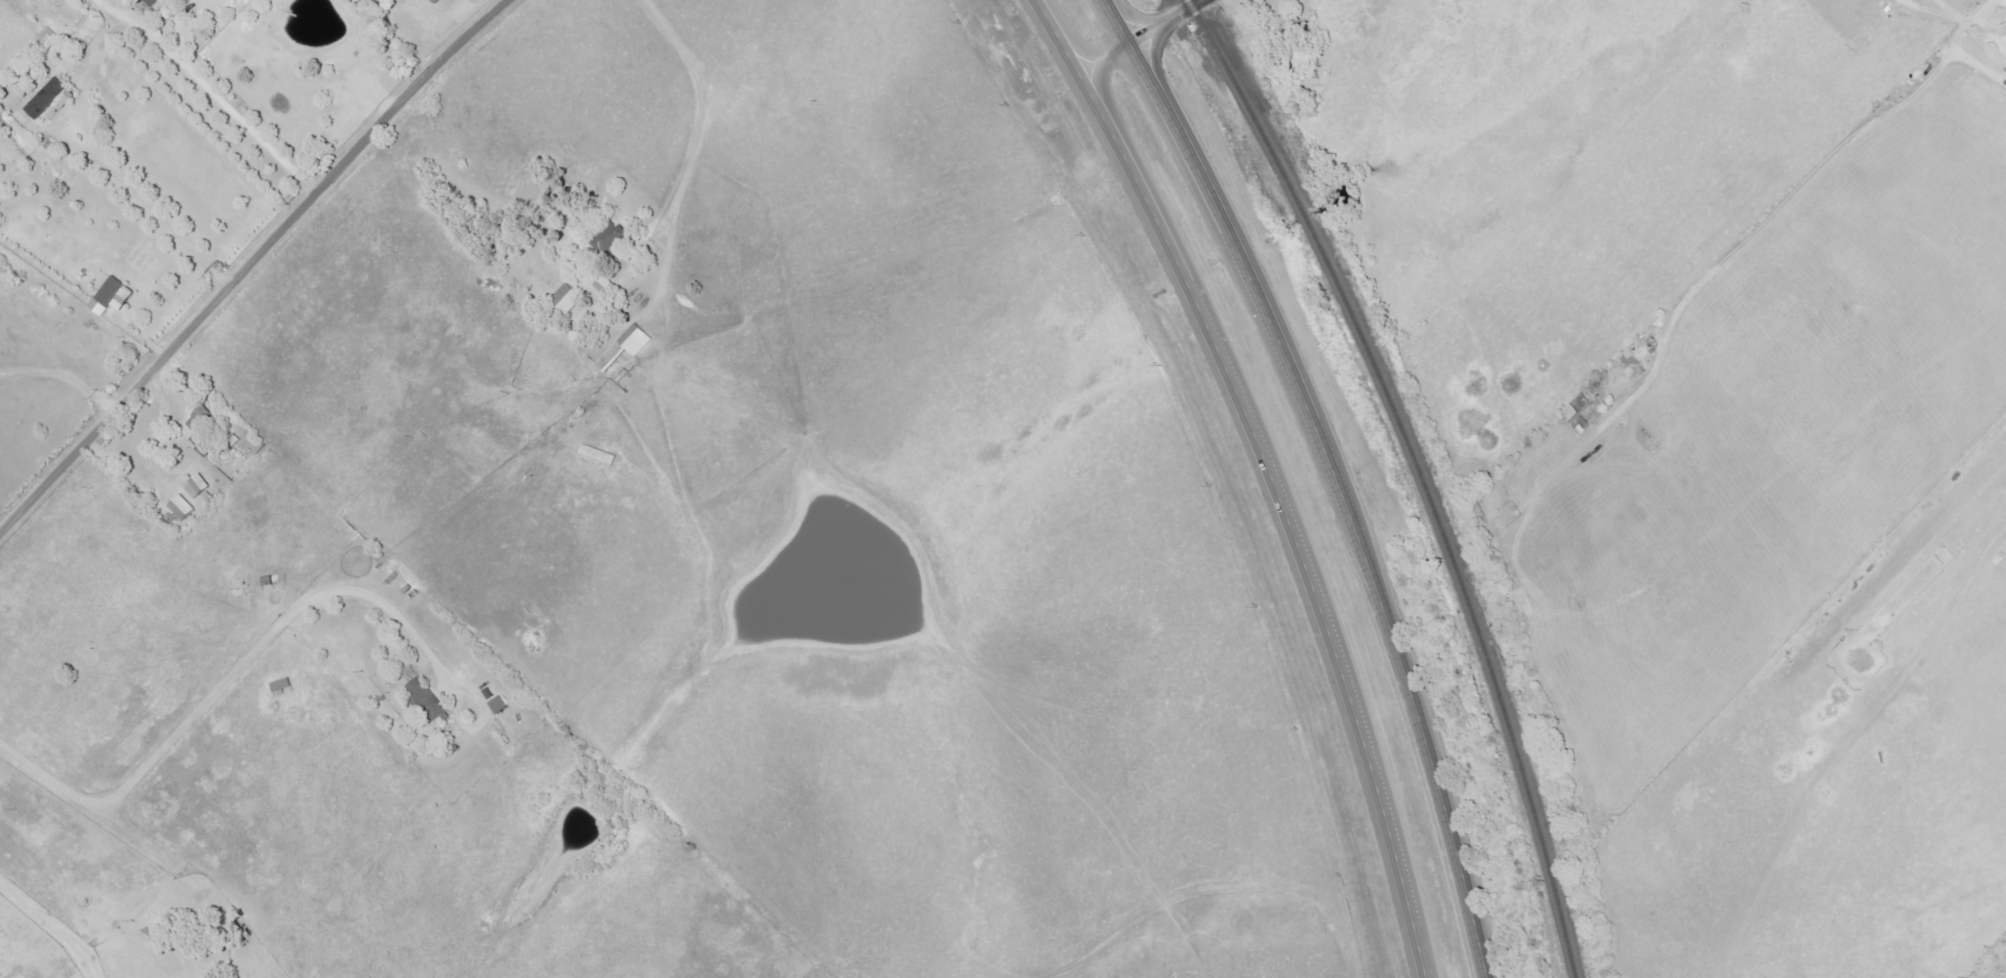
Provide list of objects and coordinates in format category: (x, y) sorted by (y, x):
building: (251, 0)
building: (247, 1)
building: (163, 3)
building: (51, 38)
road: (1136, 38)
road: (1956, 46)
road: (209, 91)
building: (49, 102)
road: (701, 114)
road: (1629, 153)
road: (110, 172)
building: (612, 238)
road: (255, 260)
building: (606, 285)
building: (114, 297)
building: (569, 299)
building: (628, 347)
road: (62, 374)
building: (200, 423)
railway: (1415, 473)
road: (1337, 474)
road: (1243, 477)
building: (197, 485)
building: (184, 508)
road: (226, 682)
building: (283, 685)
building: (429, 699)
building: (500, 705)
road: (1750, 887)
road: (52, 927)

